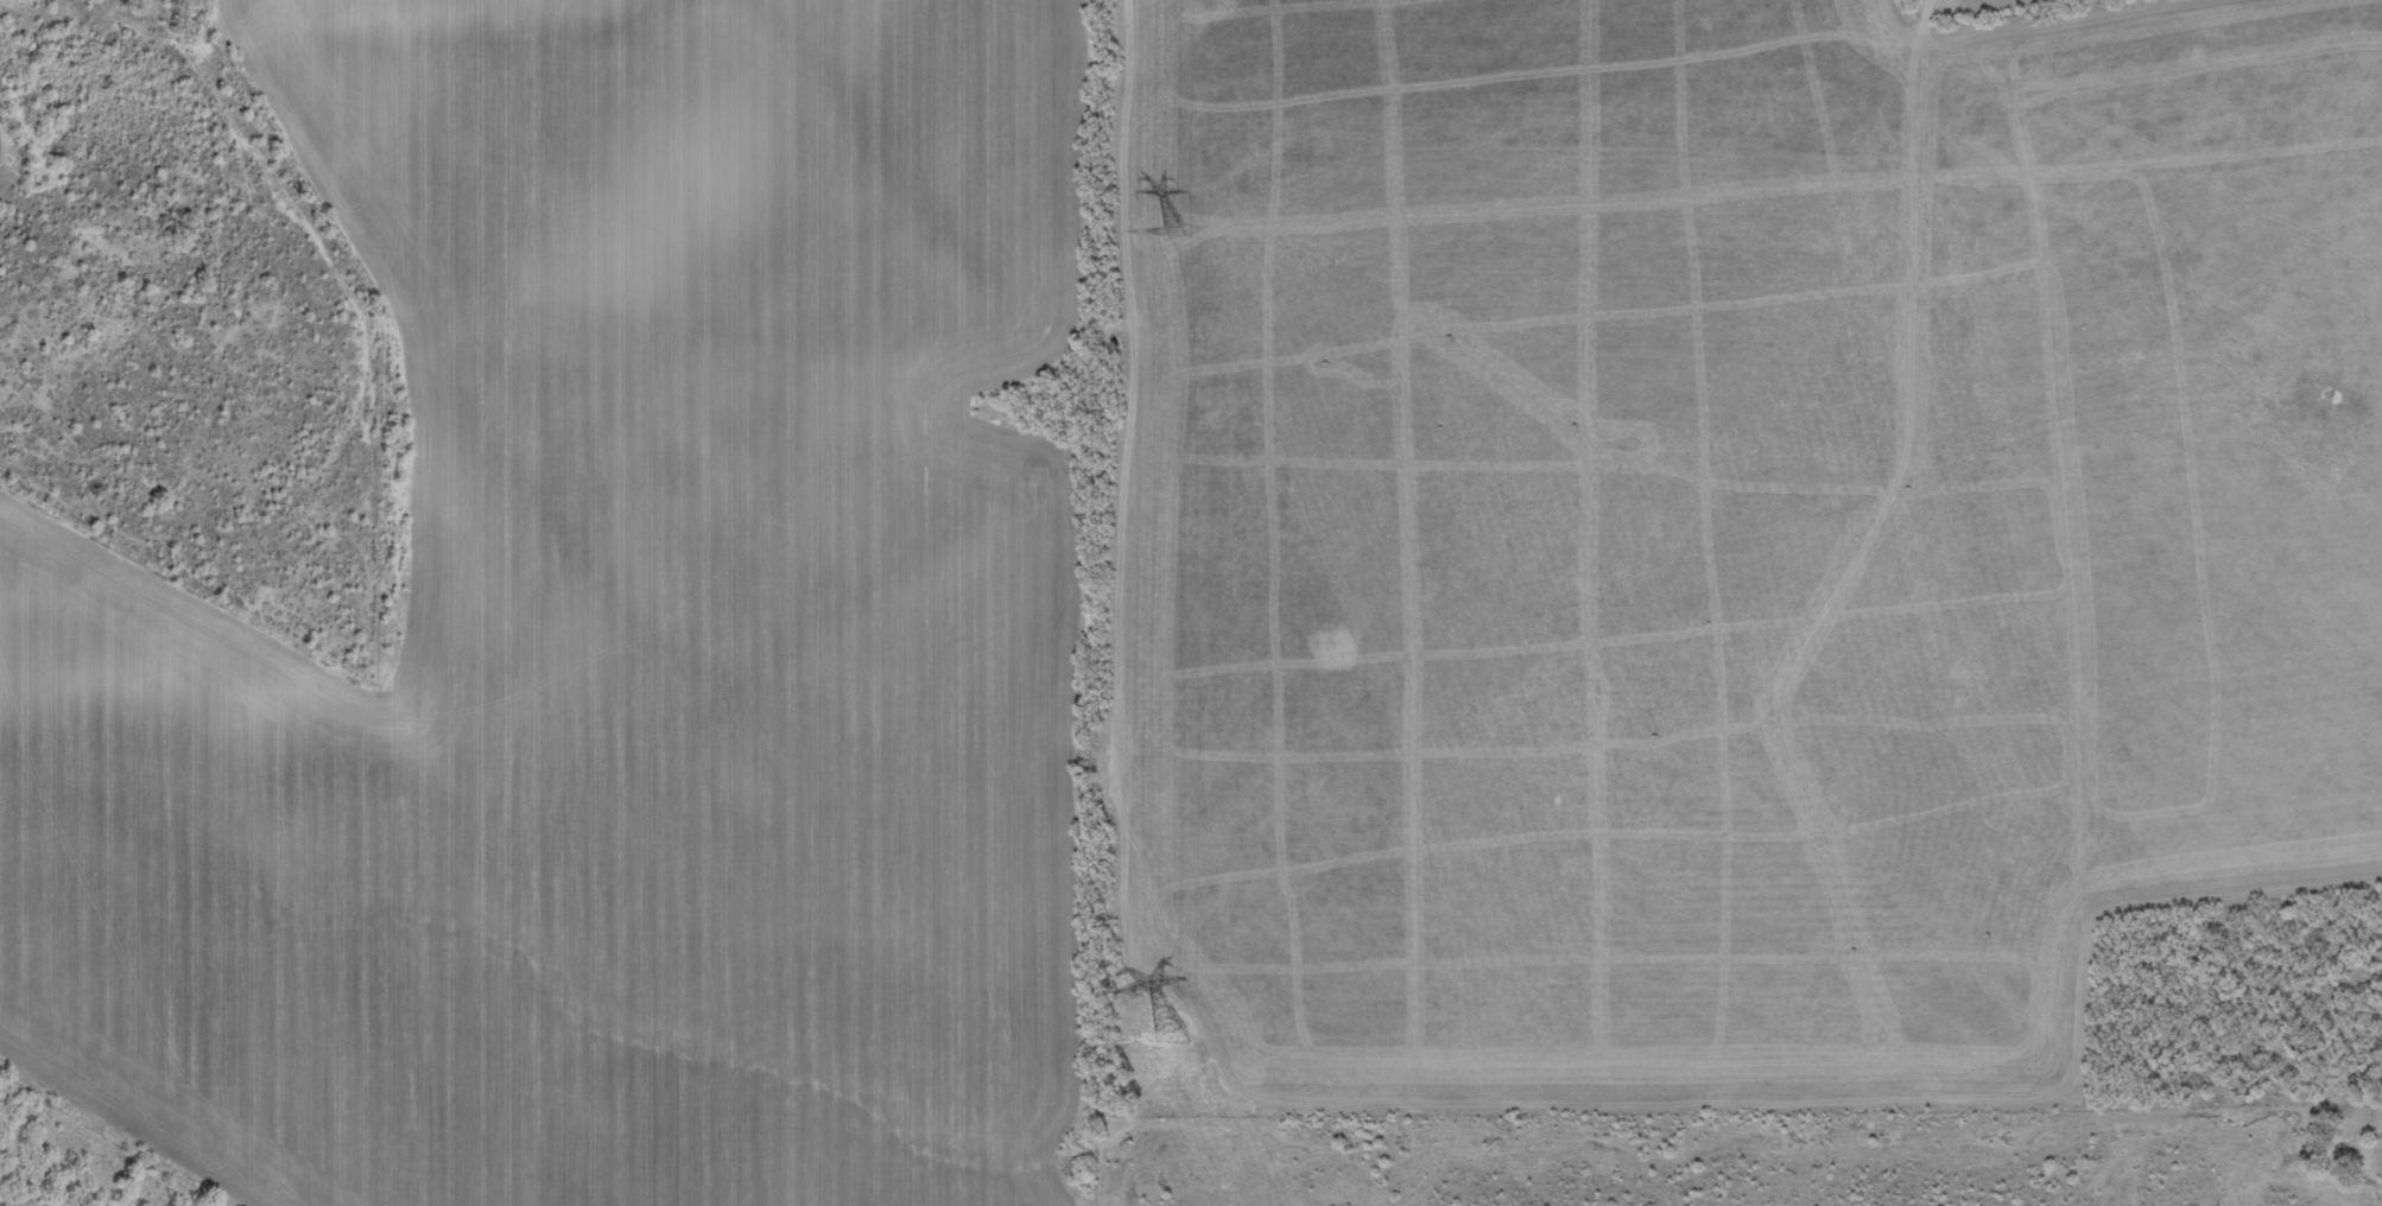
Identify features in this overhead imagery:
power tower: (1178, 233)
power tower: (1168, 1039)

